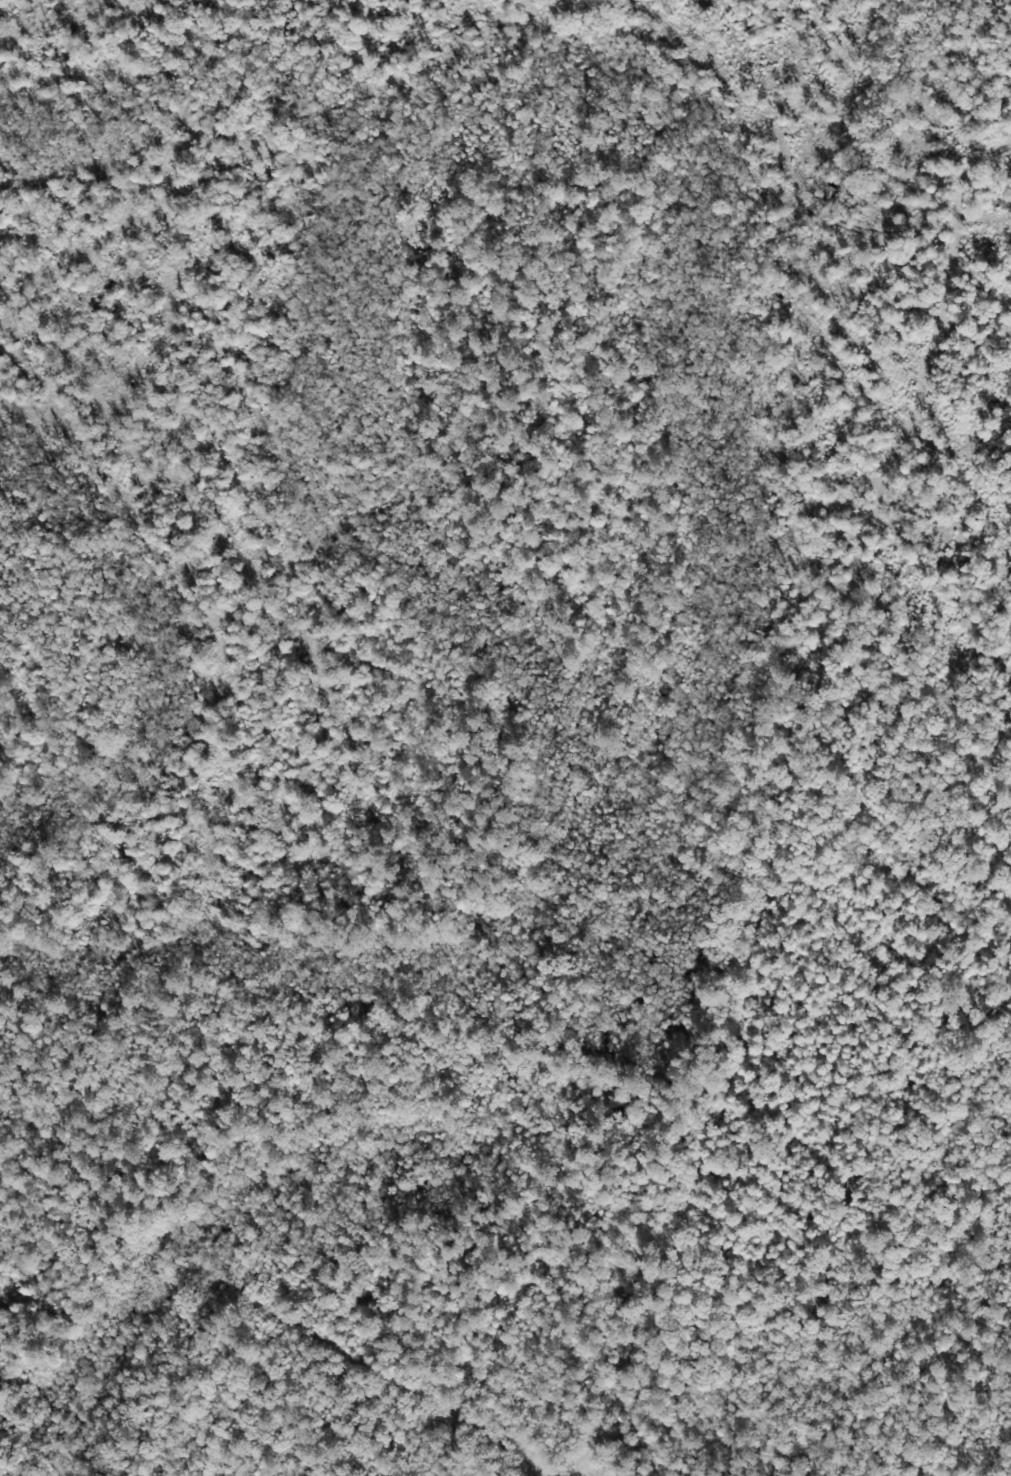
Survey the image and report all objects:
road: (613, 1354)

